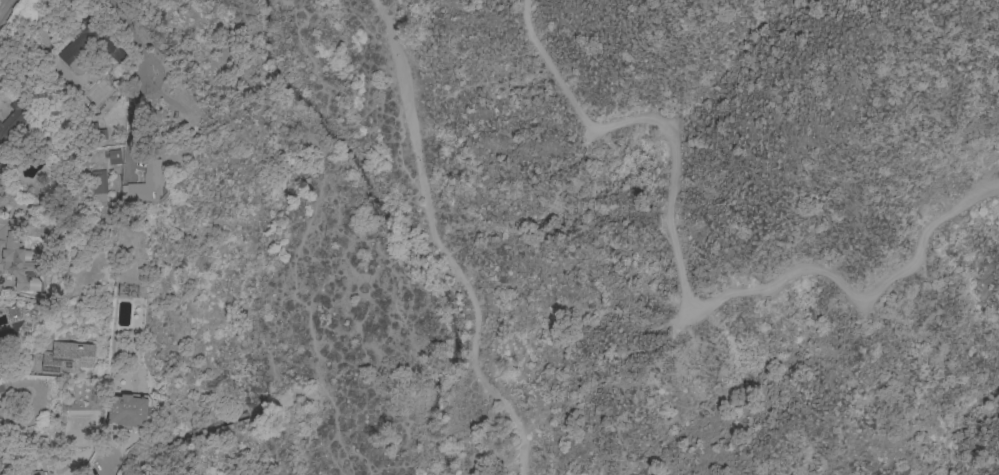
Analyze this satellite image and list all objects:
road: (8, 18)
road: (43, 35)
building: (75, 54)
building: (114, 158)
building: (97, 183)
building: (146, 184)
road: (436, 245)
building: (18, 254)
road: (684, 289)
building: (66, 357)
road: (19, 366)
building: (1, 385)
building: (124, 412)
road: (106, 466)
building: (37, 474)

